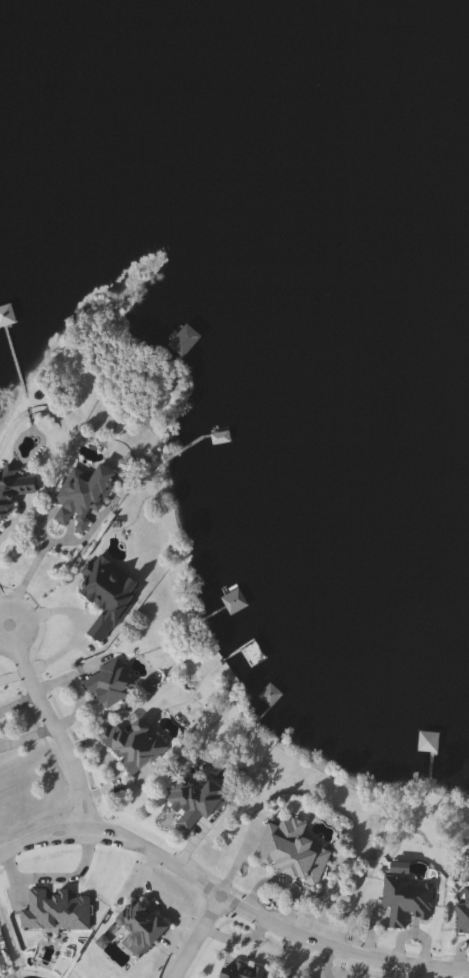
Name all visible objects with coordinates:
building: (180, 341)
building: (10, 484)
building: (77, 496)
road: (5, 534)
road: (23, 588)
building: (100, 595)
road: (6, 618)
road: (6, 636)
road: (11, 641)
building: (103, 683)
road: (54, 731)
building: (131, 745)
building: (189, 800)
building: (286, 850)
road: (226, 897)
building: (401, 899)
building: (459, 917)
building: (136, 924)
road: (193, 935)
building: (236, 970)
building: (278, 977)

